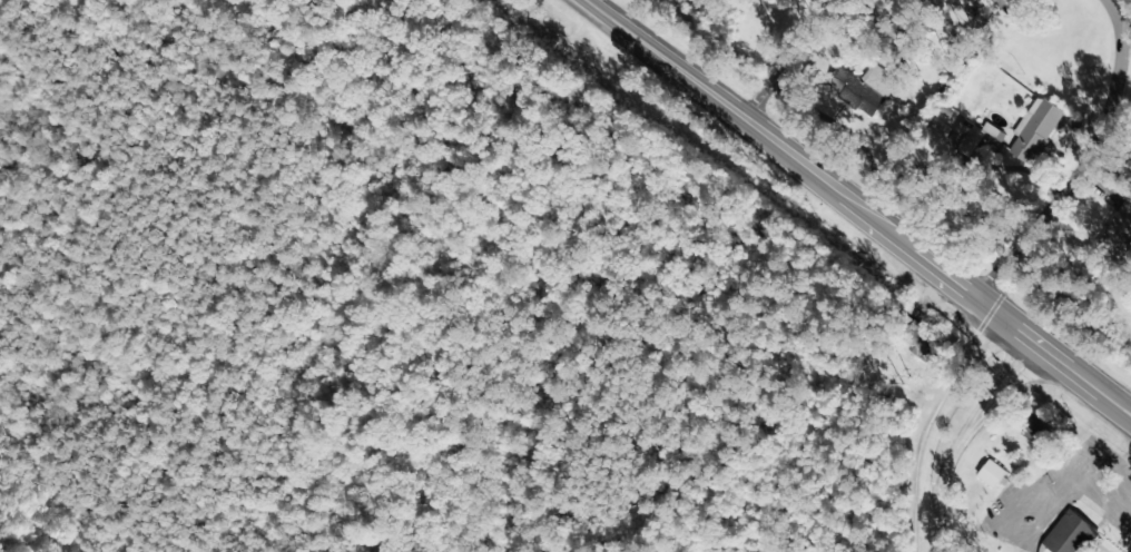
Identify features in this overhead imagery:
building: (994, 7)
road: (765, 55)
building: (871, 88)
road: (715, 100)
building: (1035, 129)
building: (965, 138)
road: (1053, 152)
building: (1117, 230)
road: (991, 307)
road: (933, 425)
building: (1036, 431)
building: (993, 473)
building: (1071, 533)

